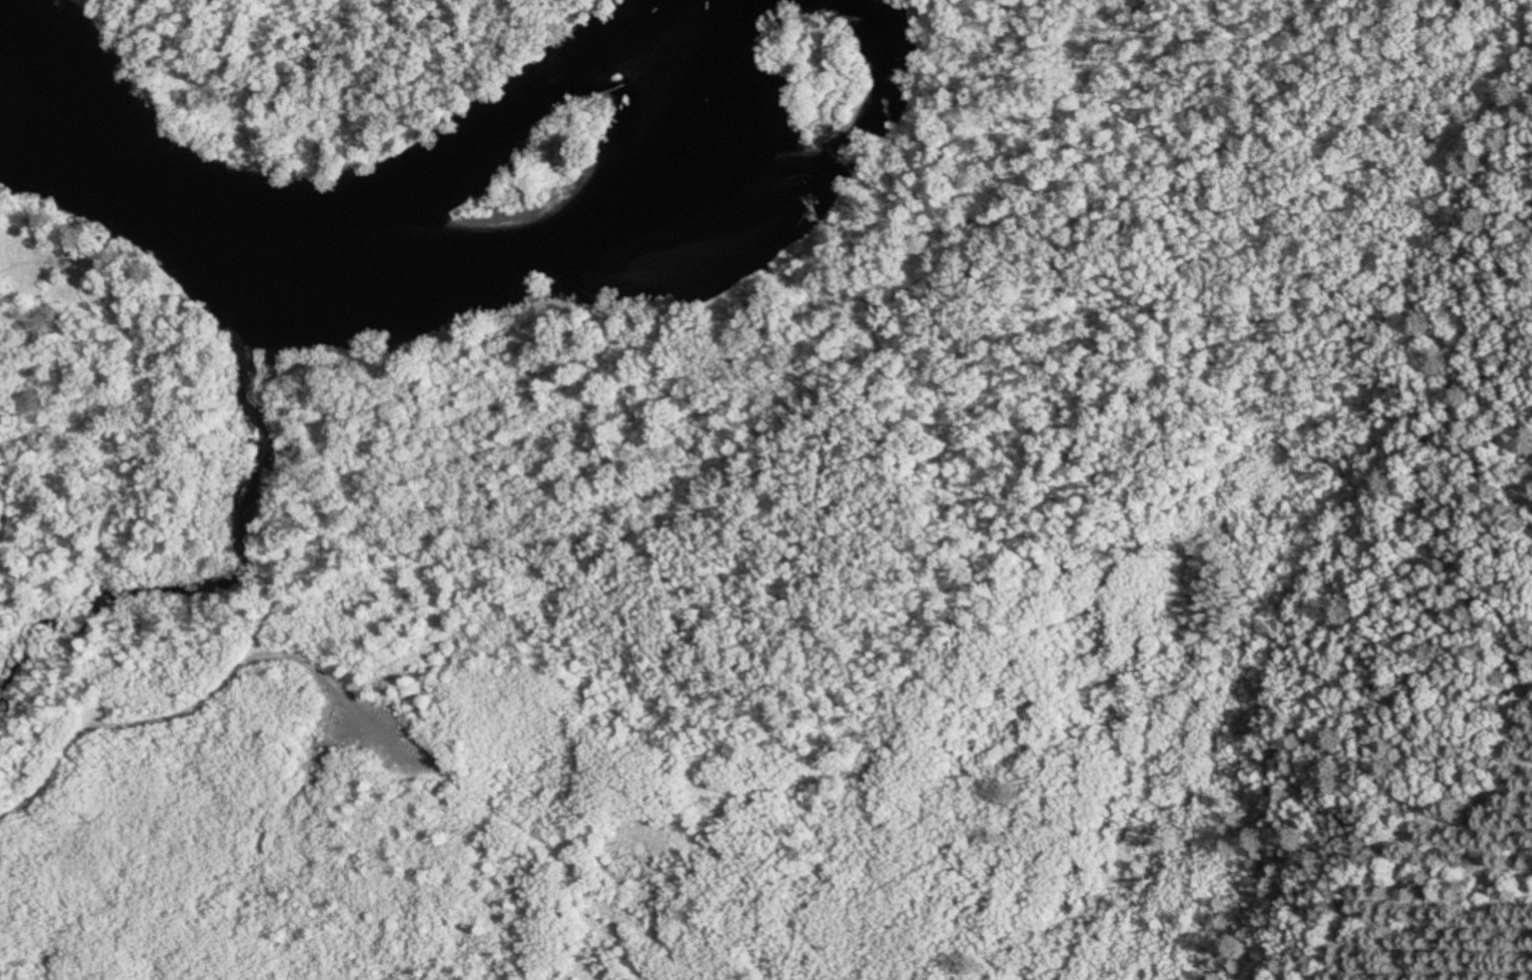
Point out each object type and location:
river: (112, 163)
river: (568, 247)
road: (173, 719)

